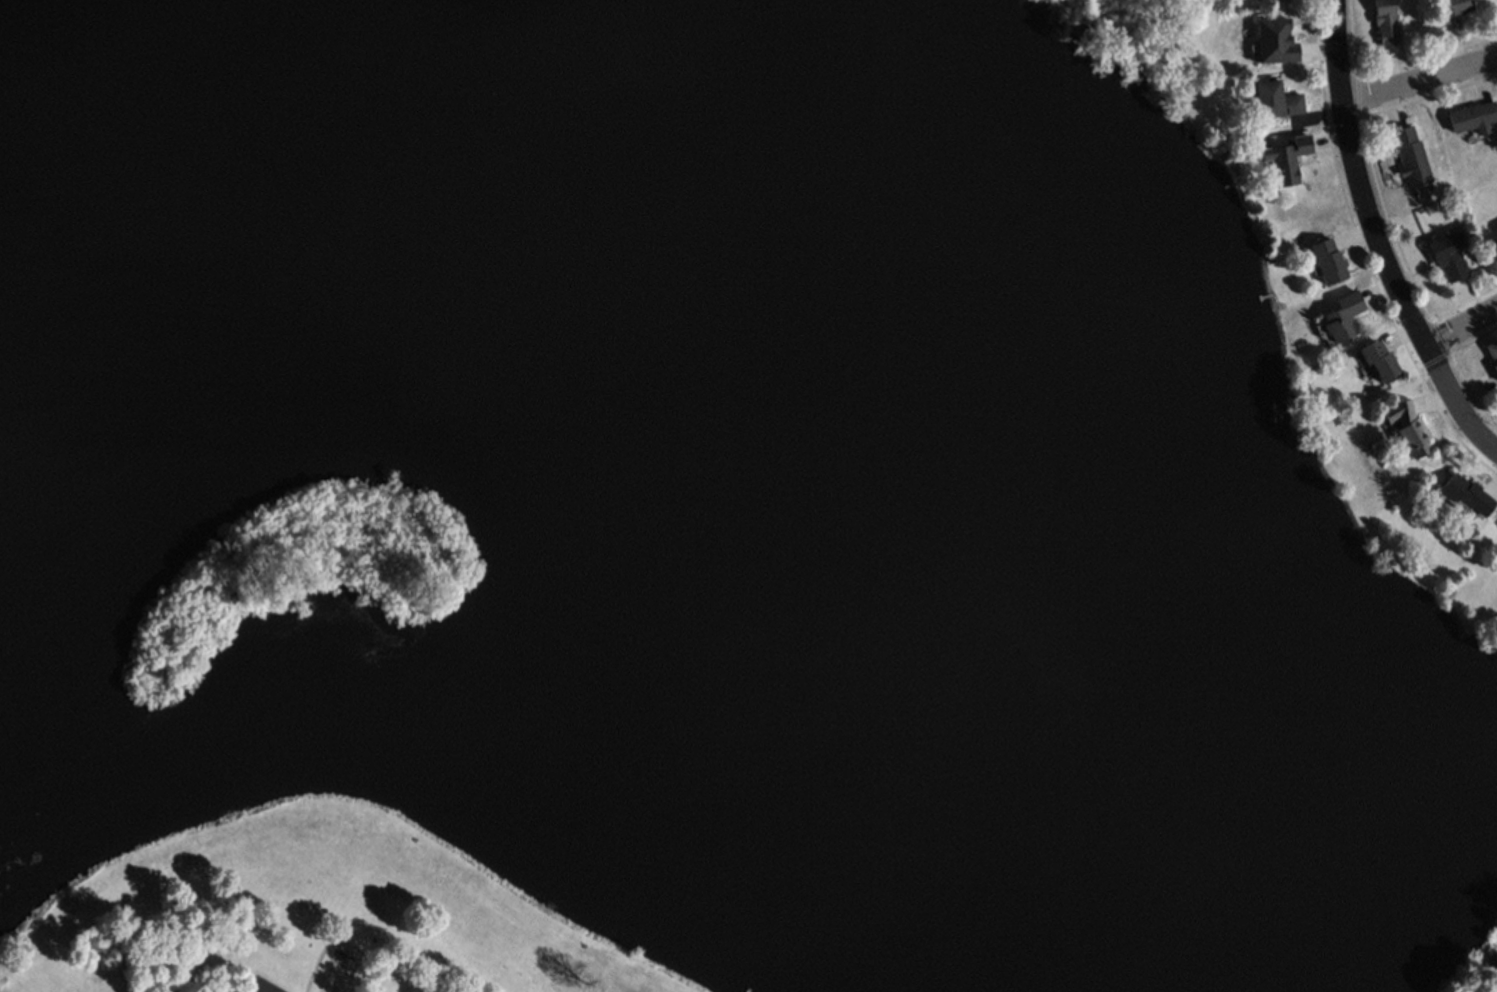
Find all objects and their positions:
building: (1231, 2)
road: (1337, 4)
building: (1455, 7)
building: (1386, 22)
park: (1154, 40)
building: (1275, 40)
road: (1420, 80)
building: (1276, 100)
building: (1472, 115)
building: (1411, 155)
building: (1286, 159)
building: (1495, 241)
road: (1379, 244)
building: (1448, 257)
building: (1327, 261)
building: (1342, 316)
road: (1462, 327)
building: (1492, 353)
building: (1378, 360)
building: (1407, 427)
river: (848, 461)
building: (1466, 493)
park: (291, 579)
park: (300, 917)
building: (1487, 949)
building: (344, 959)
building: (1489, 970)
building: (263, 985)

